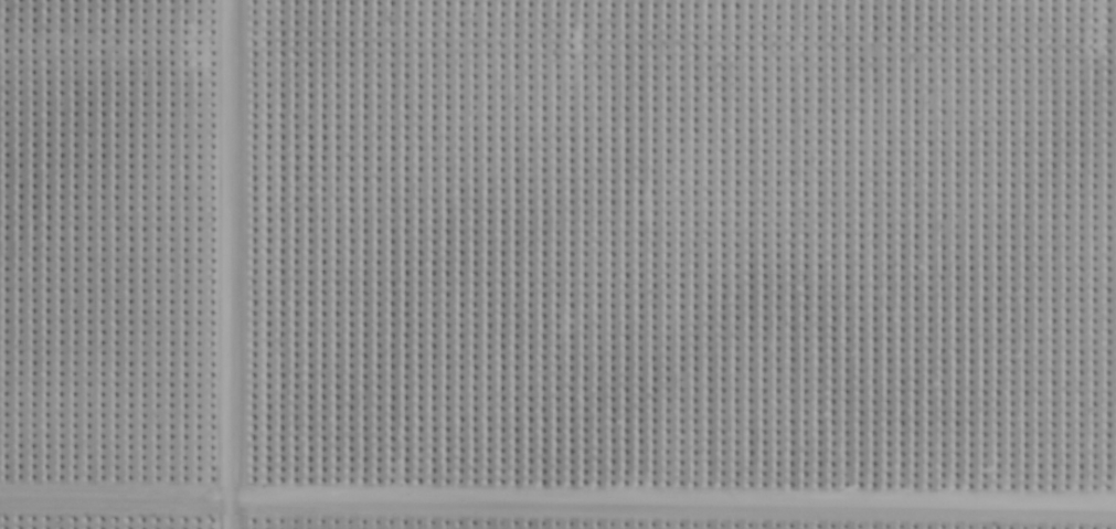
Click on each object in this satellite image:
road: (226, 264)
crop: (557, 264)

